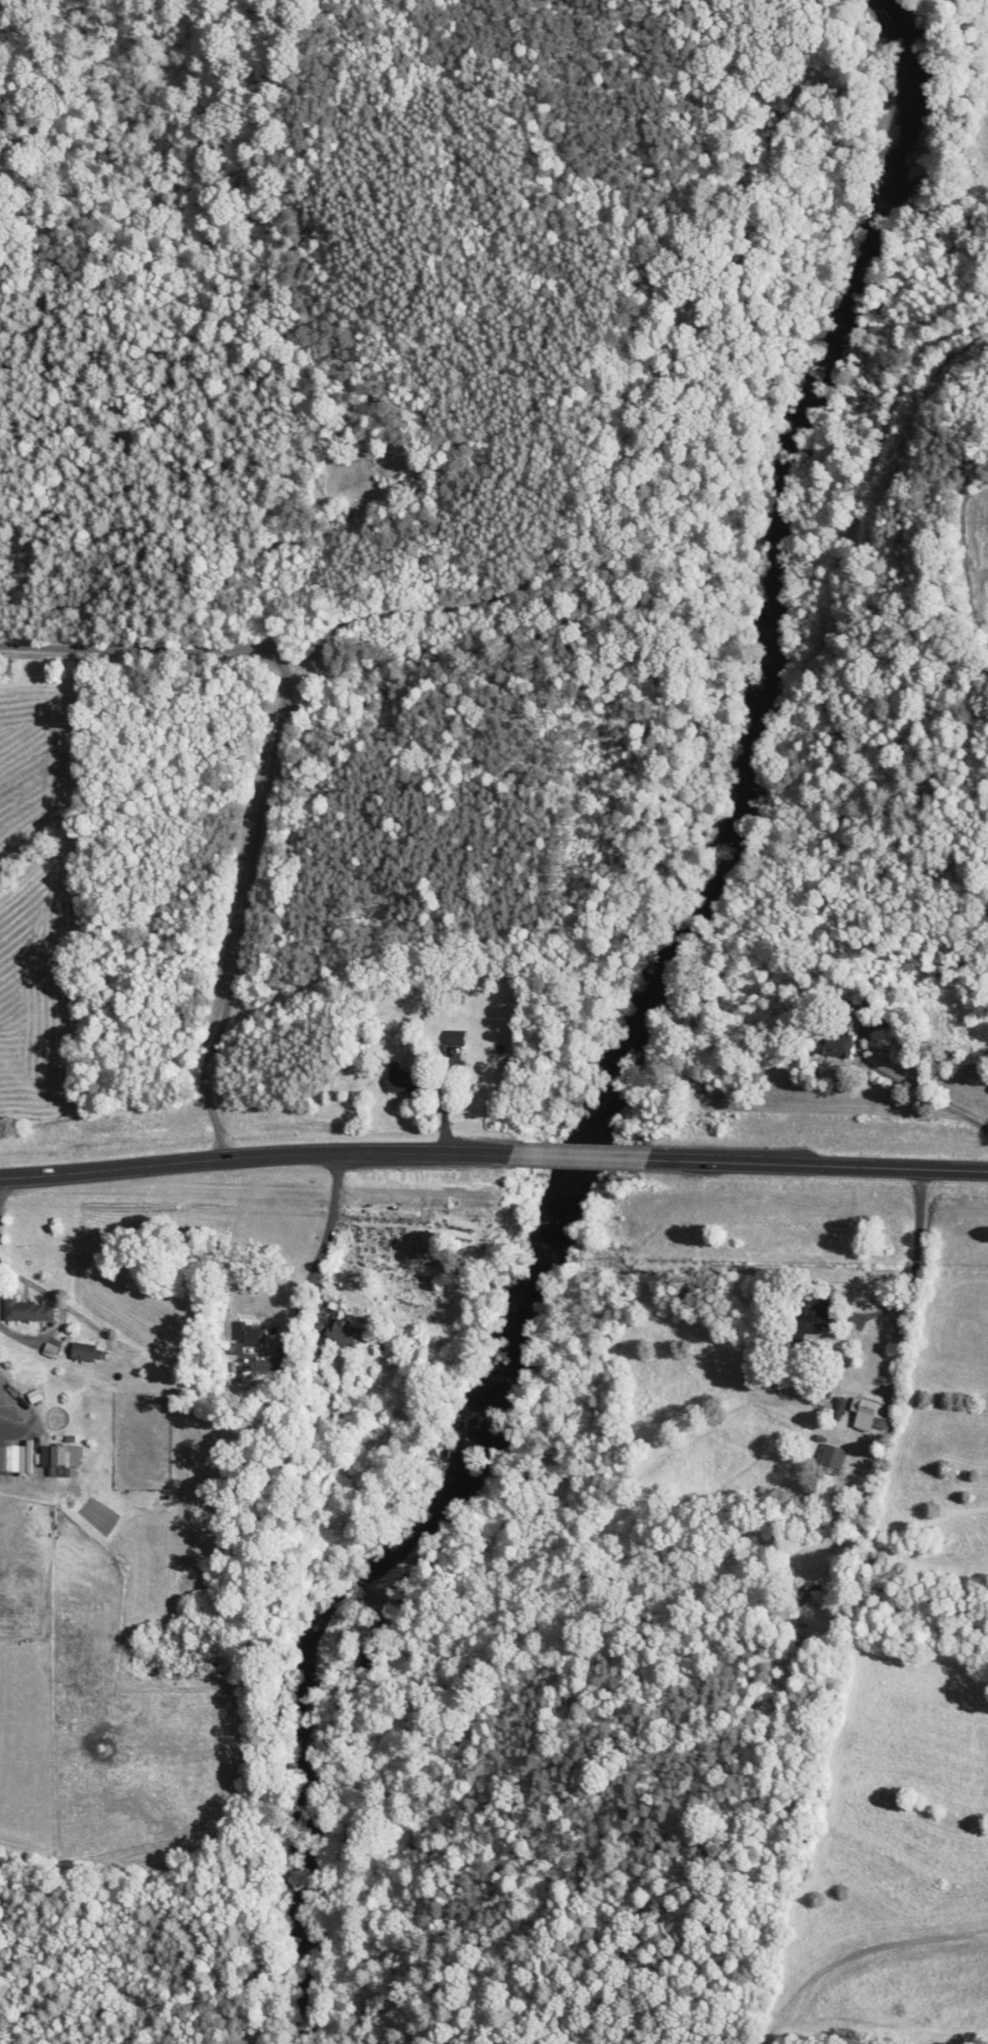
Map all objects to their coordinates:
road: (271, 771)
river: (752, 800)
building: (451, 996)
building: (451, 1039)
building: (834, 1043)
building: (397, 1080)
building: (705, 1086)
road: (252, 1156)
road: (575, 1157)
road: (816, 1164)
road: (318, 1257)
road: (62, 1311)
building: (26, 1312)
building: (808, 1324)
building: (342, 1335)
building: (245, 1338)
building: (82, 1352)
building: (403, 1357)
building: (244, 1369)
building: (316, 1379)
road: (6, 1400)
building: (869, 1417)
building: (828, 1460)
building: (37, 1461)
river: (397, 1590)
river: (351, 1702)
river: (308, 1903)

